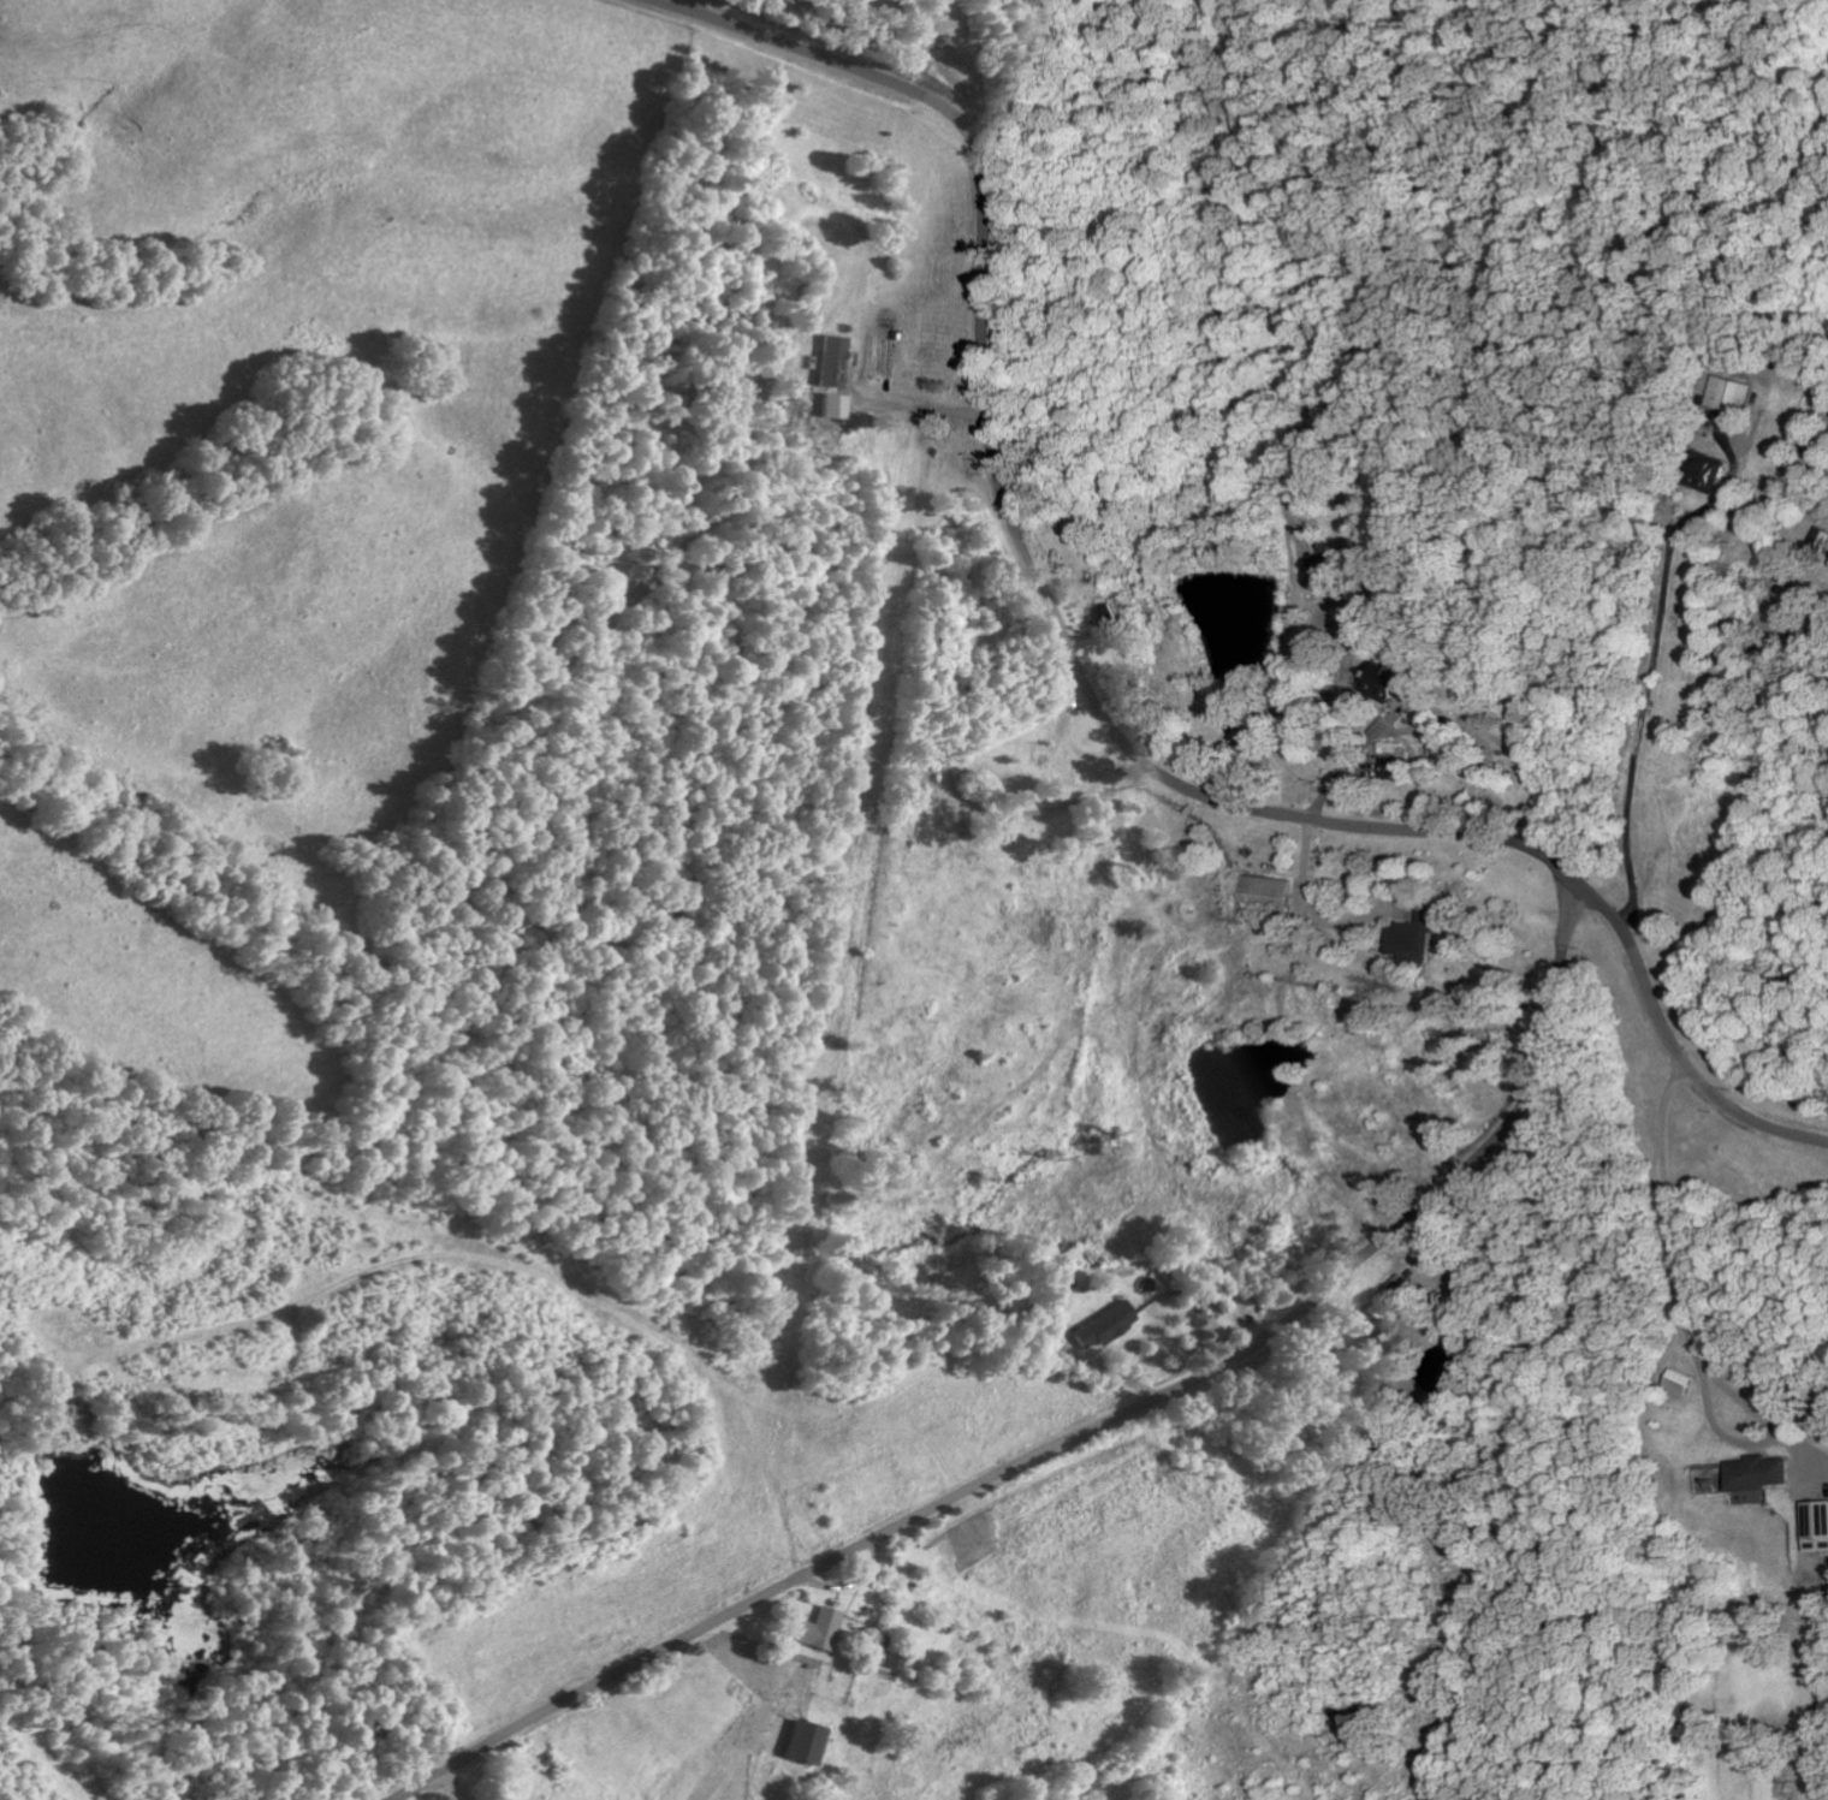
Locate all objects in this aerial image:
building: (835, 360)
building: (1741, 393)
building: (1722, 474)
building: (1821, 540)
building: (1331, 569)
building: (1109, 617)
building: (1399, 682)
road: (1091, 699)
building: (1401, 767)
building: (1272, 896)
building: (1420, 937)
building: (1389, 1297)
building: (1108, 1325)
road: (1085, 1430)
building: (1763, 1473)
building: (1820, 1526)
building: (821, 1628)
building: (807, 1742)

